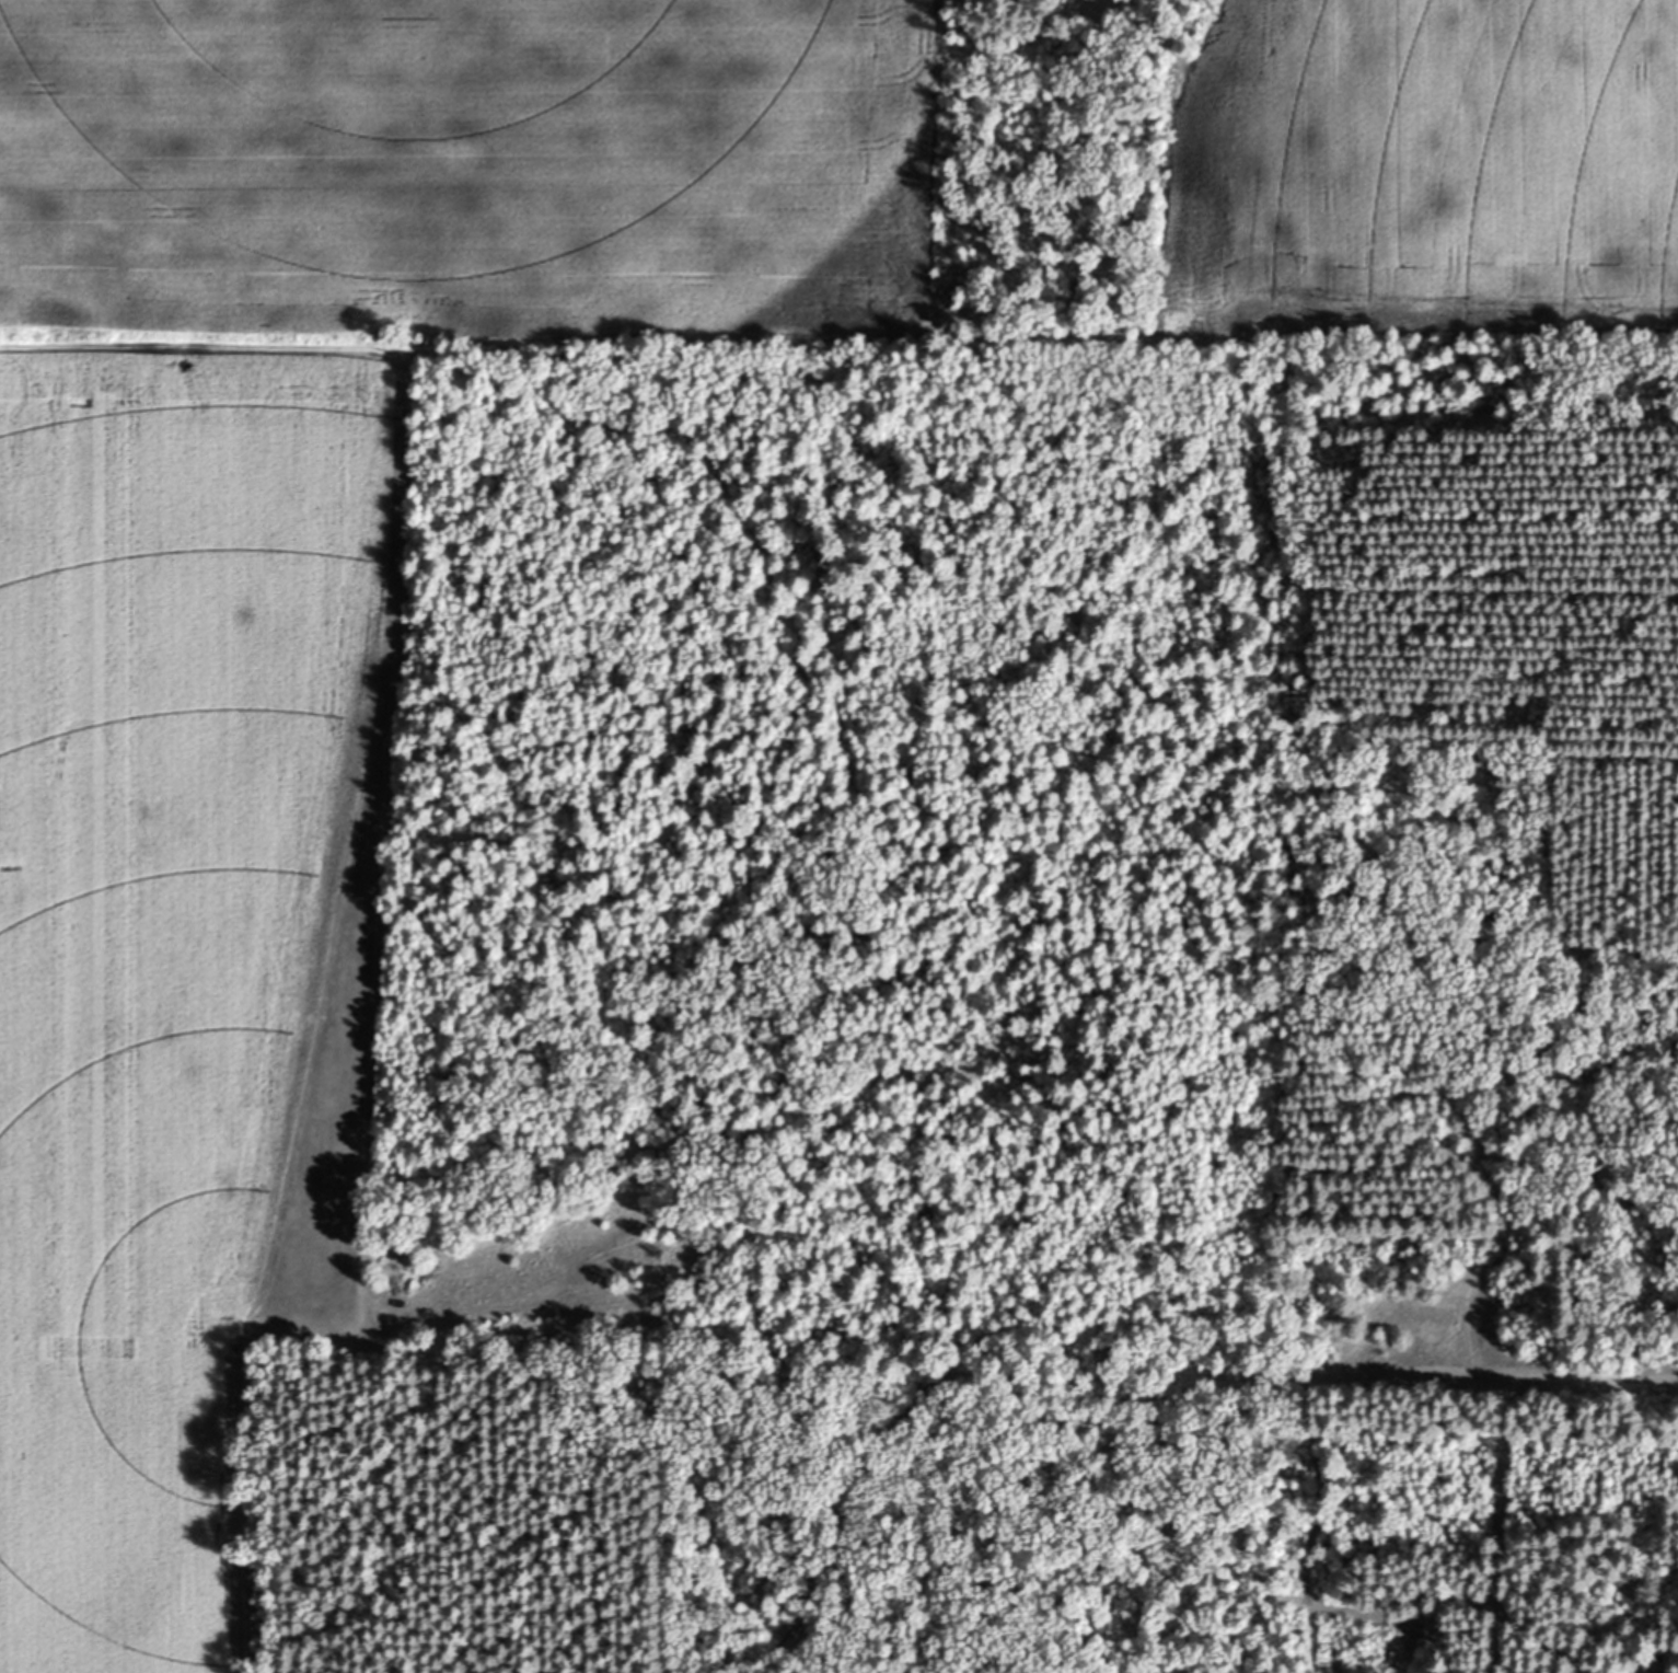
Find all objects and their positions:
road: (1450, 1380)
road: (1489, 1486)
road: (1536, 1630)
road: (1488, 1634)
building: (1656, 1671)

